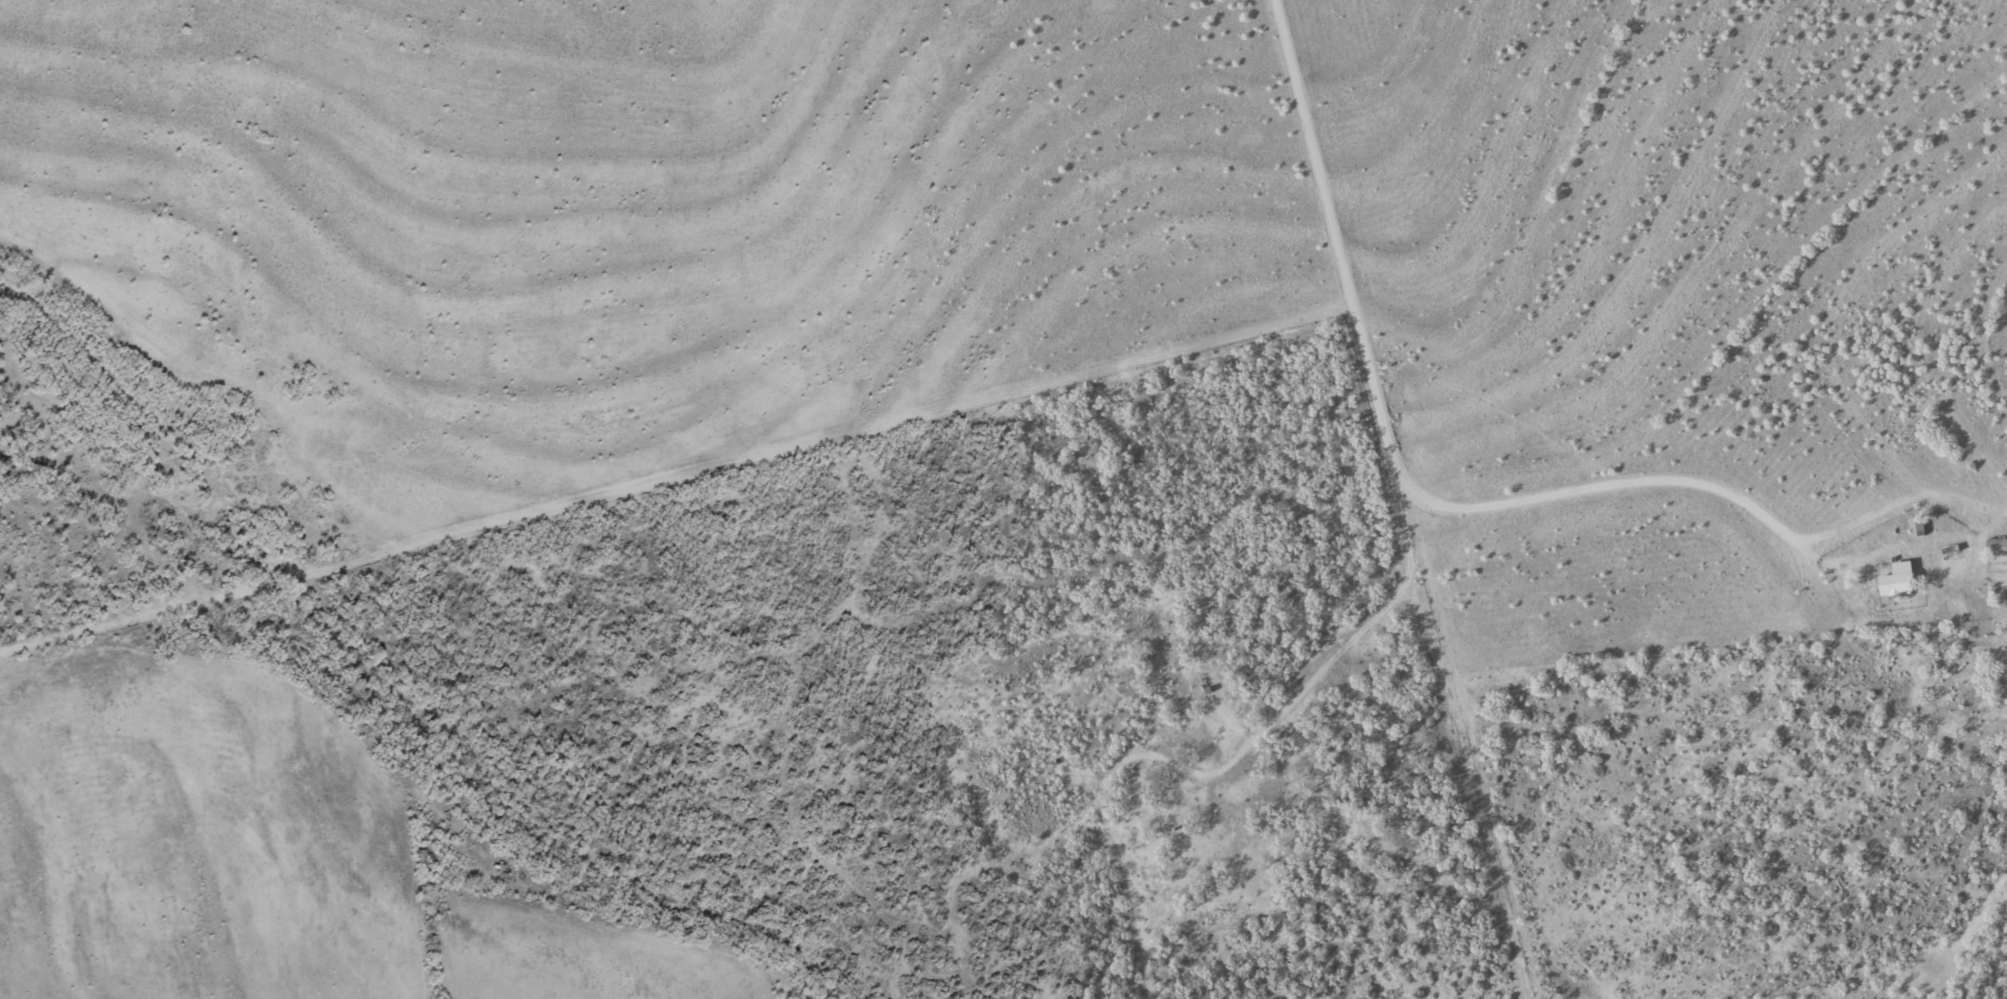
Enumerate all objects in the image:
road: (1413, 492)
building: (1902, 579)

